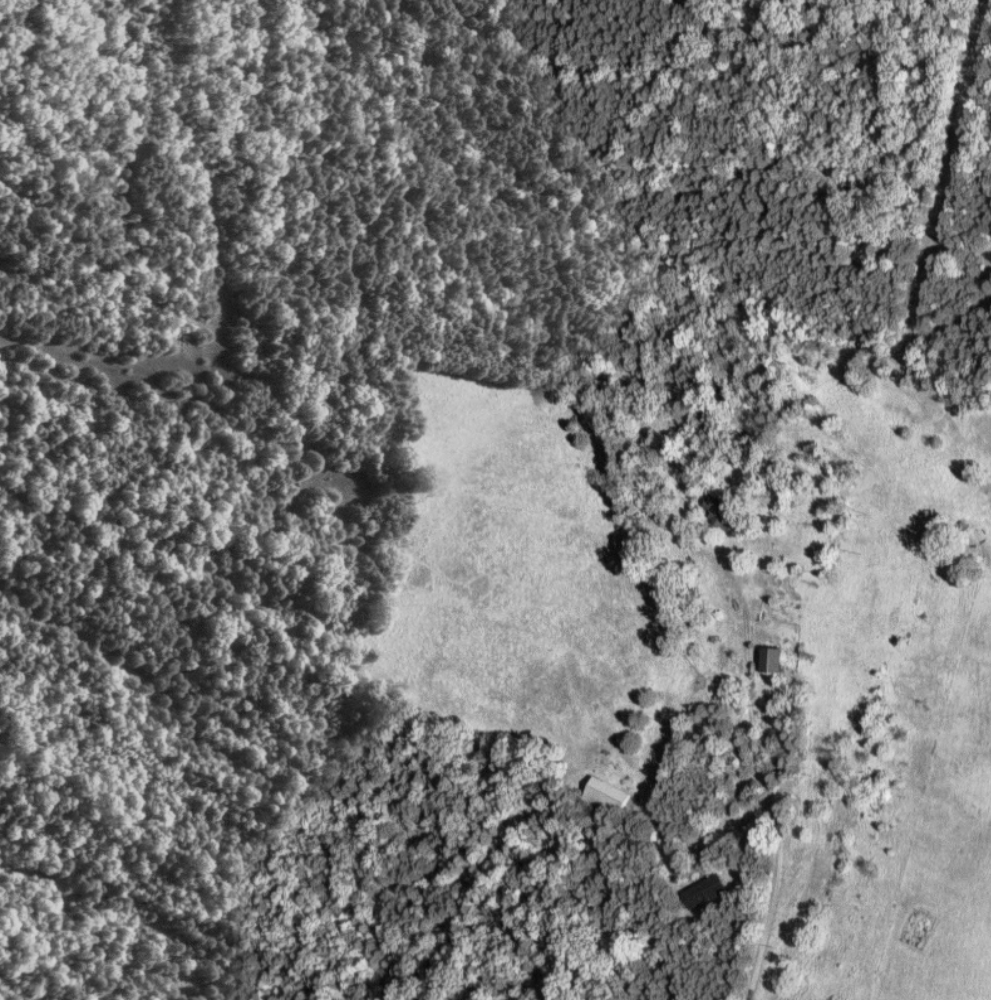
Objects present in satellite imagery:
building: (721, 512)
building: (776, 659)
road: (760, 737)
building: (611, 793)
road: (719, 834)
building: (705, 890)

